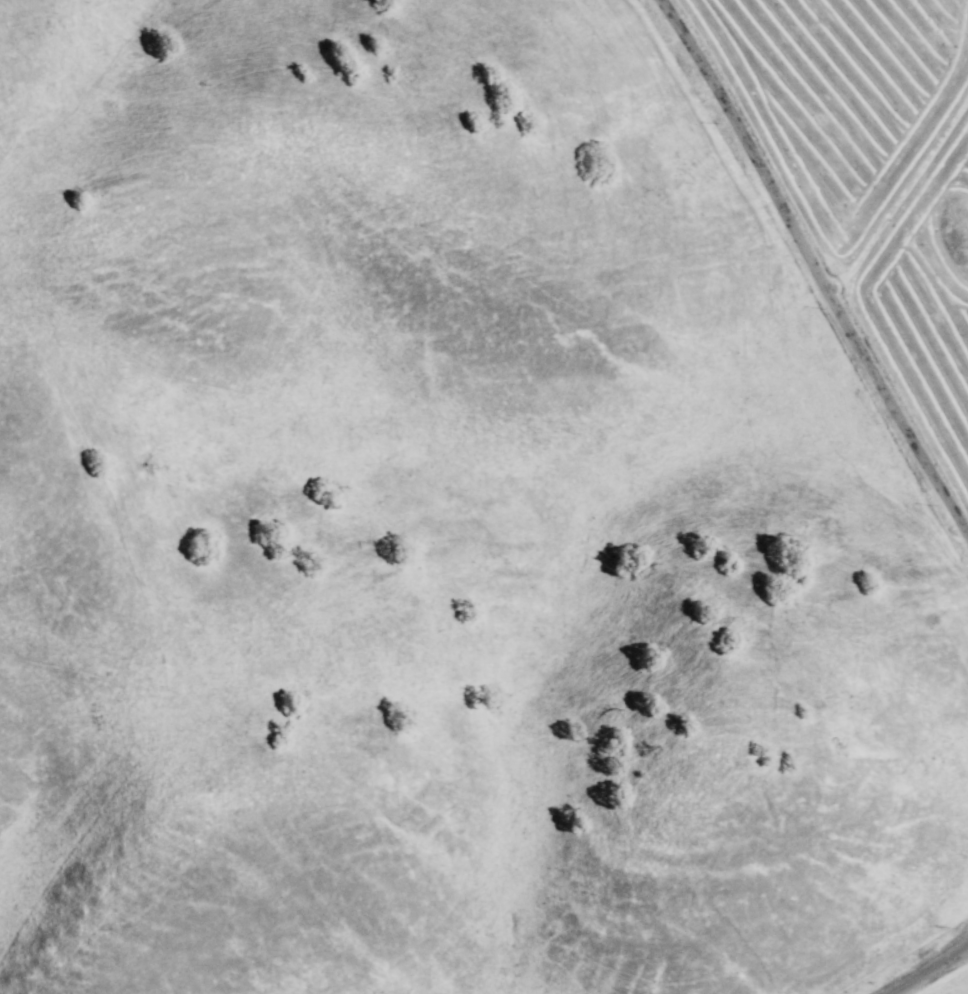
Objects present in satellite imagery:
crop: (878, 164)
road: (807, 282)
road: (921, 966)

